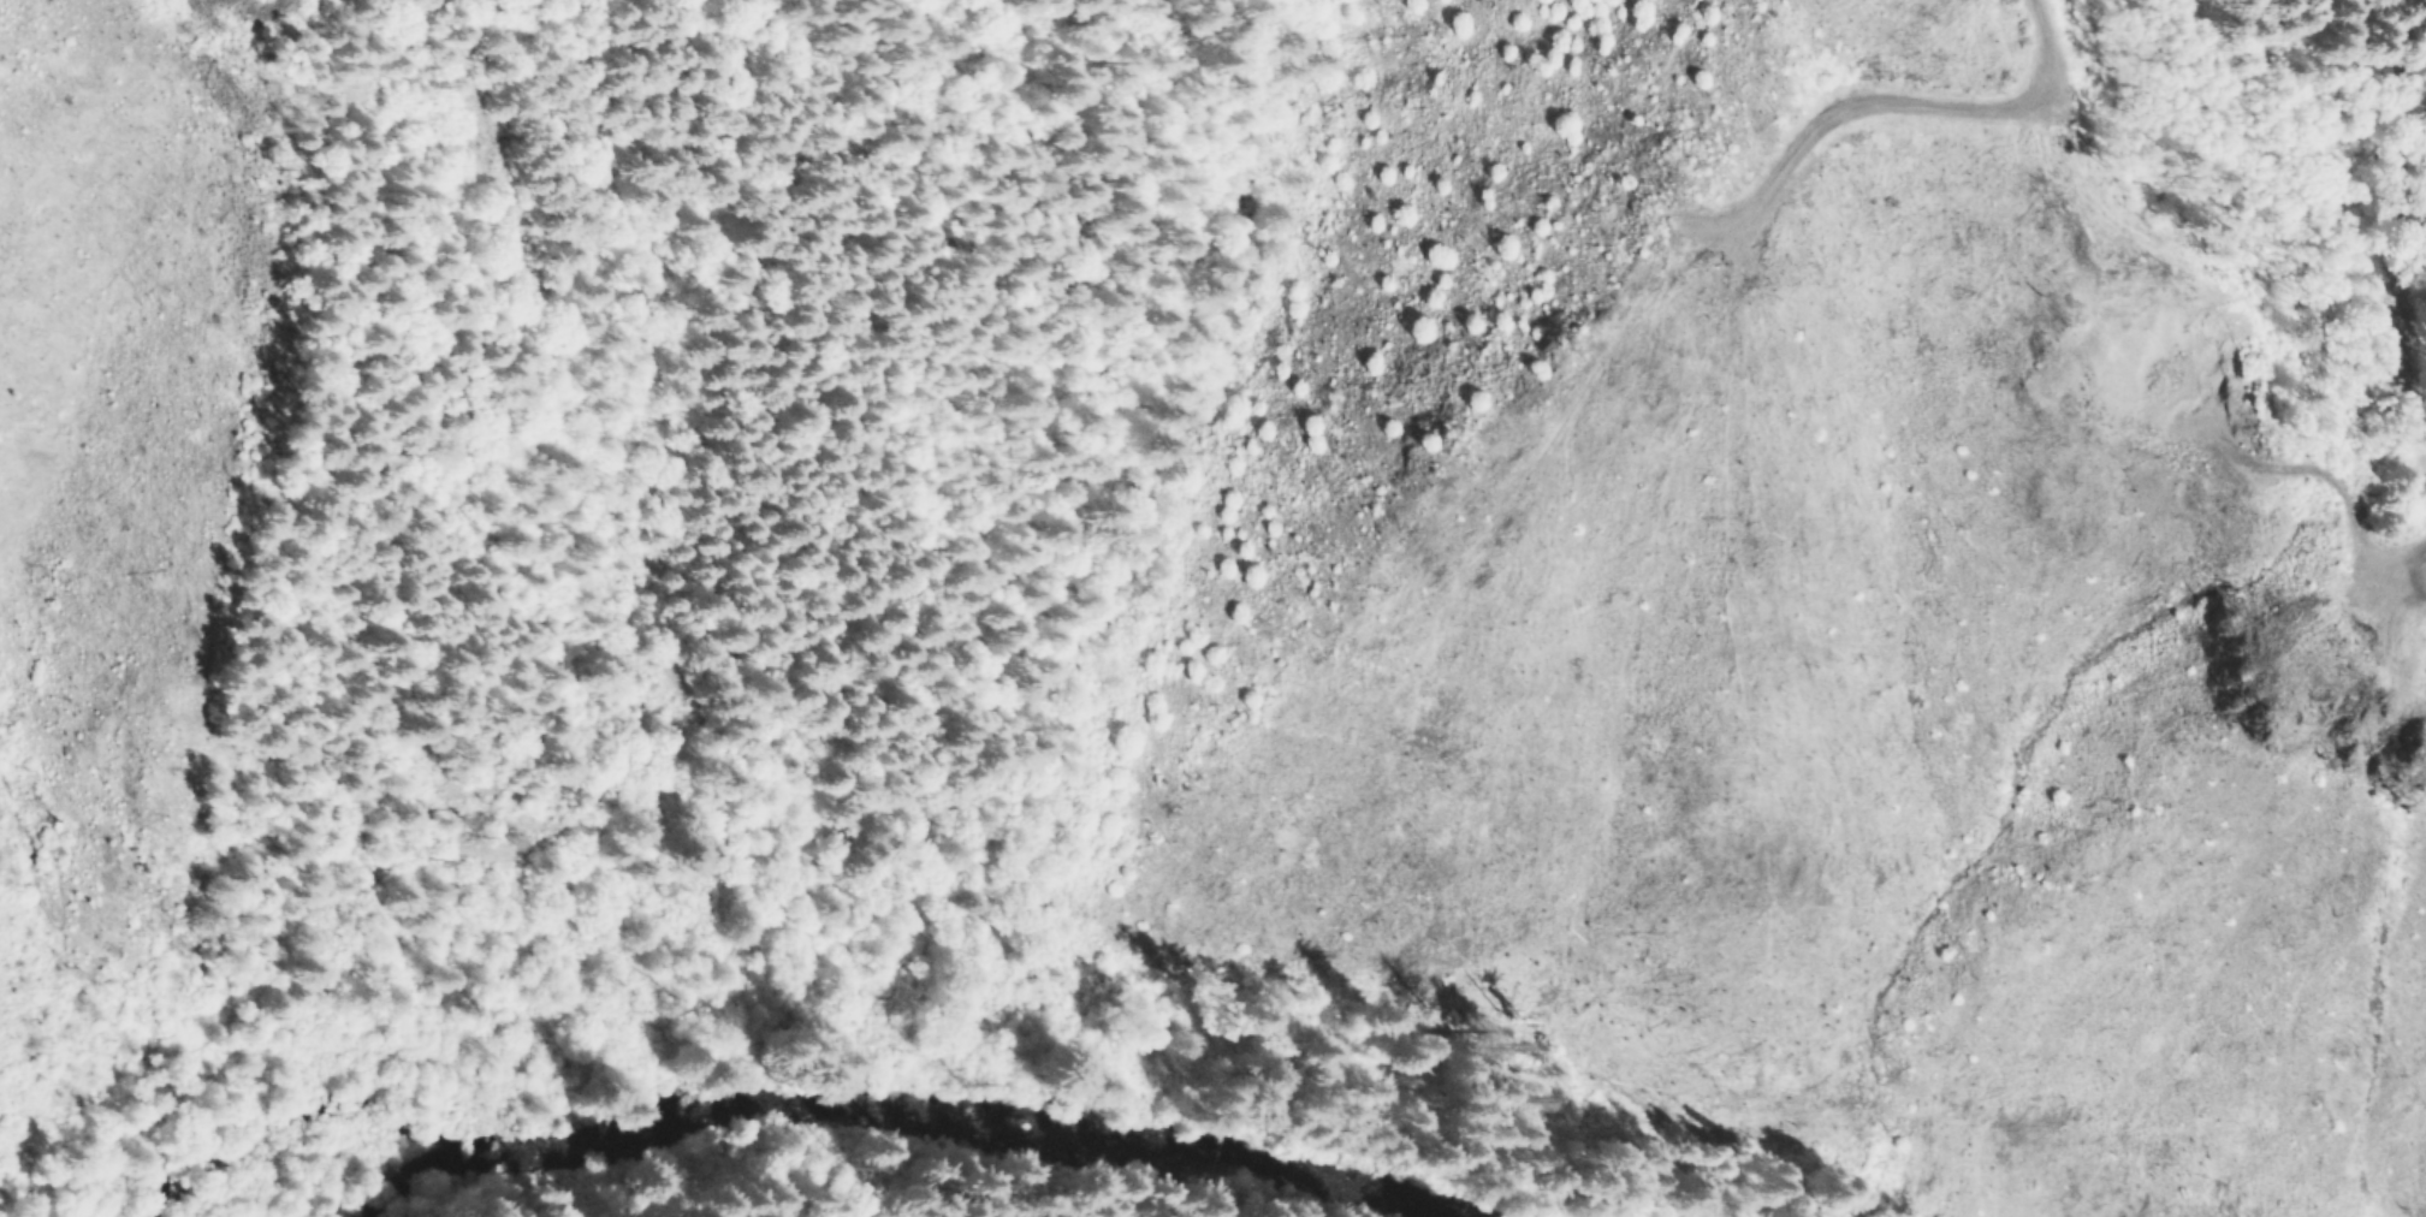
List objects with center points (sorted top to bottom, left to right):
road: (2321, 471)
road: (2419, 569)

